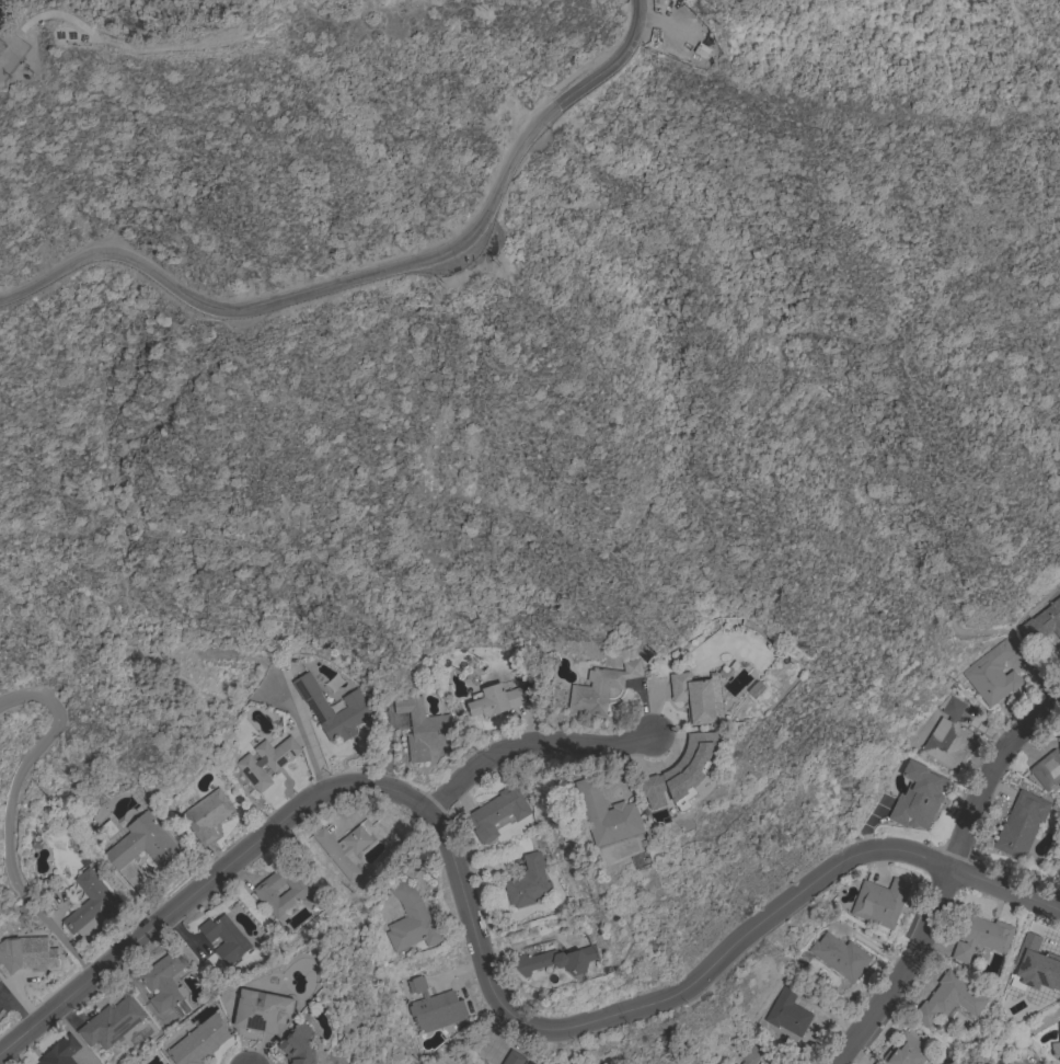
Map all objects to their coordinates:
building: (4, 53)
road: (12, 68)
road: (376, 278)
building: (1041, 623)
building: (991, 674)
building: (601, 687)
building: (696, 697)
building: (494, 700)
building: (355, 703)
building: (423, 729)
building: (947, 733)
road: (527, 741)
building: (266, 760)
building: (1048, 768)
building: (682, 770)
building: (918, 796)
building: (497, 813)
building: (606, 814)
building: (207, 815)
building: (1021, 824)
building: (142, 843)
building: (343, 849)
road: (944, 879)
building: (528, 882)
building: (298, 891)
road: (1004, 894)
road: (463, 900)
building: (879, 902)
building: (91, 904)
building: (410, 918)
building: (224, 937)
building: (981, 937)
building: (26, 954)
building: (839, 957)
building: (553, 962)
building: (1034, 968)
building: (165, 983)
building: (948, 998)
building: (434, 1006)
building: (261, 1010)
building: (787, 1012)
building: (111, 1021)
building: (199, 1041)
building: (298, 1044)
building: (1056, 1046)
building: (60, 1051)
building: (905, 1051)
building: (749, 1054)
building: (512, 1057)
building: (1013, 1063)

